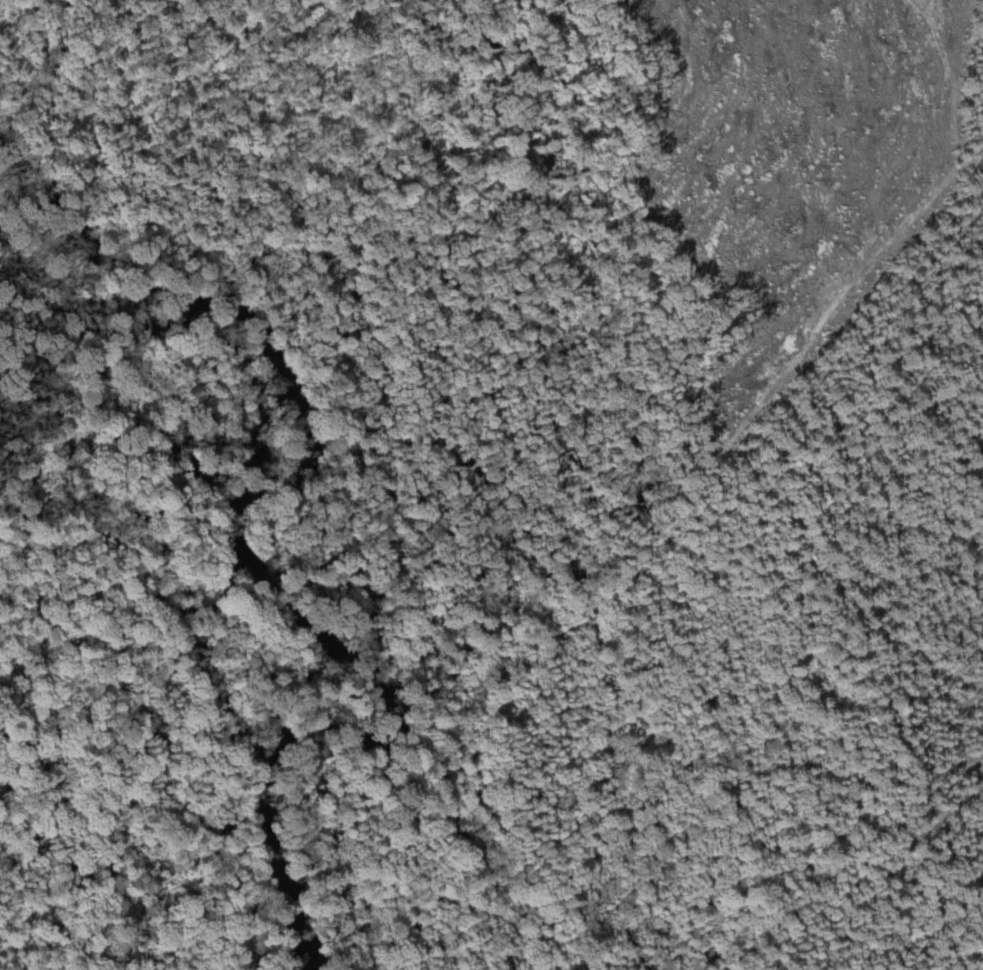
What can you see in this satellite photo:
river: (259, 551)

